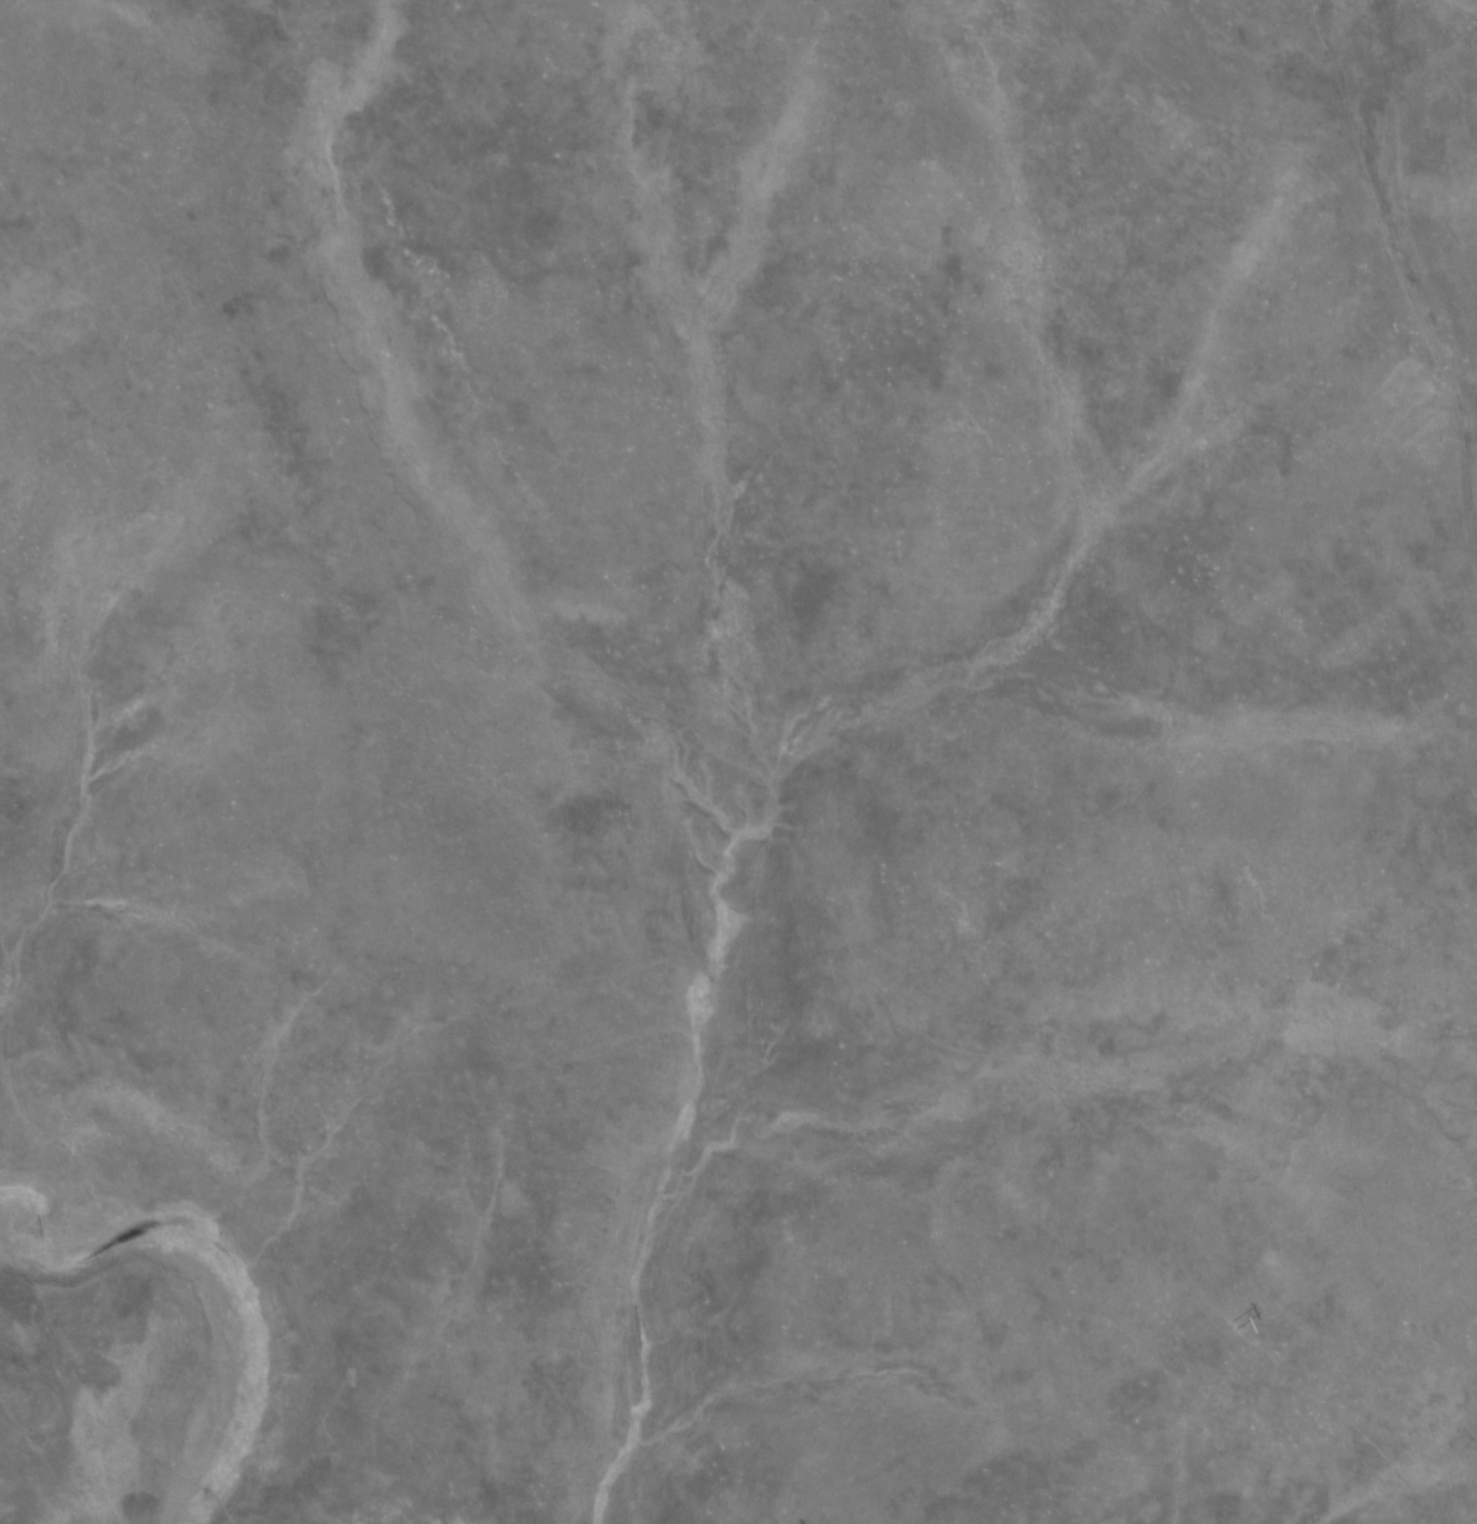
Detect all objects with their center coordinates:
power tower: (1234, 1326)

